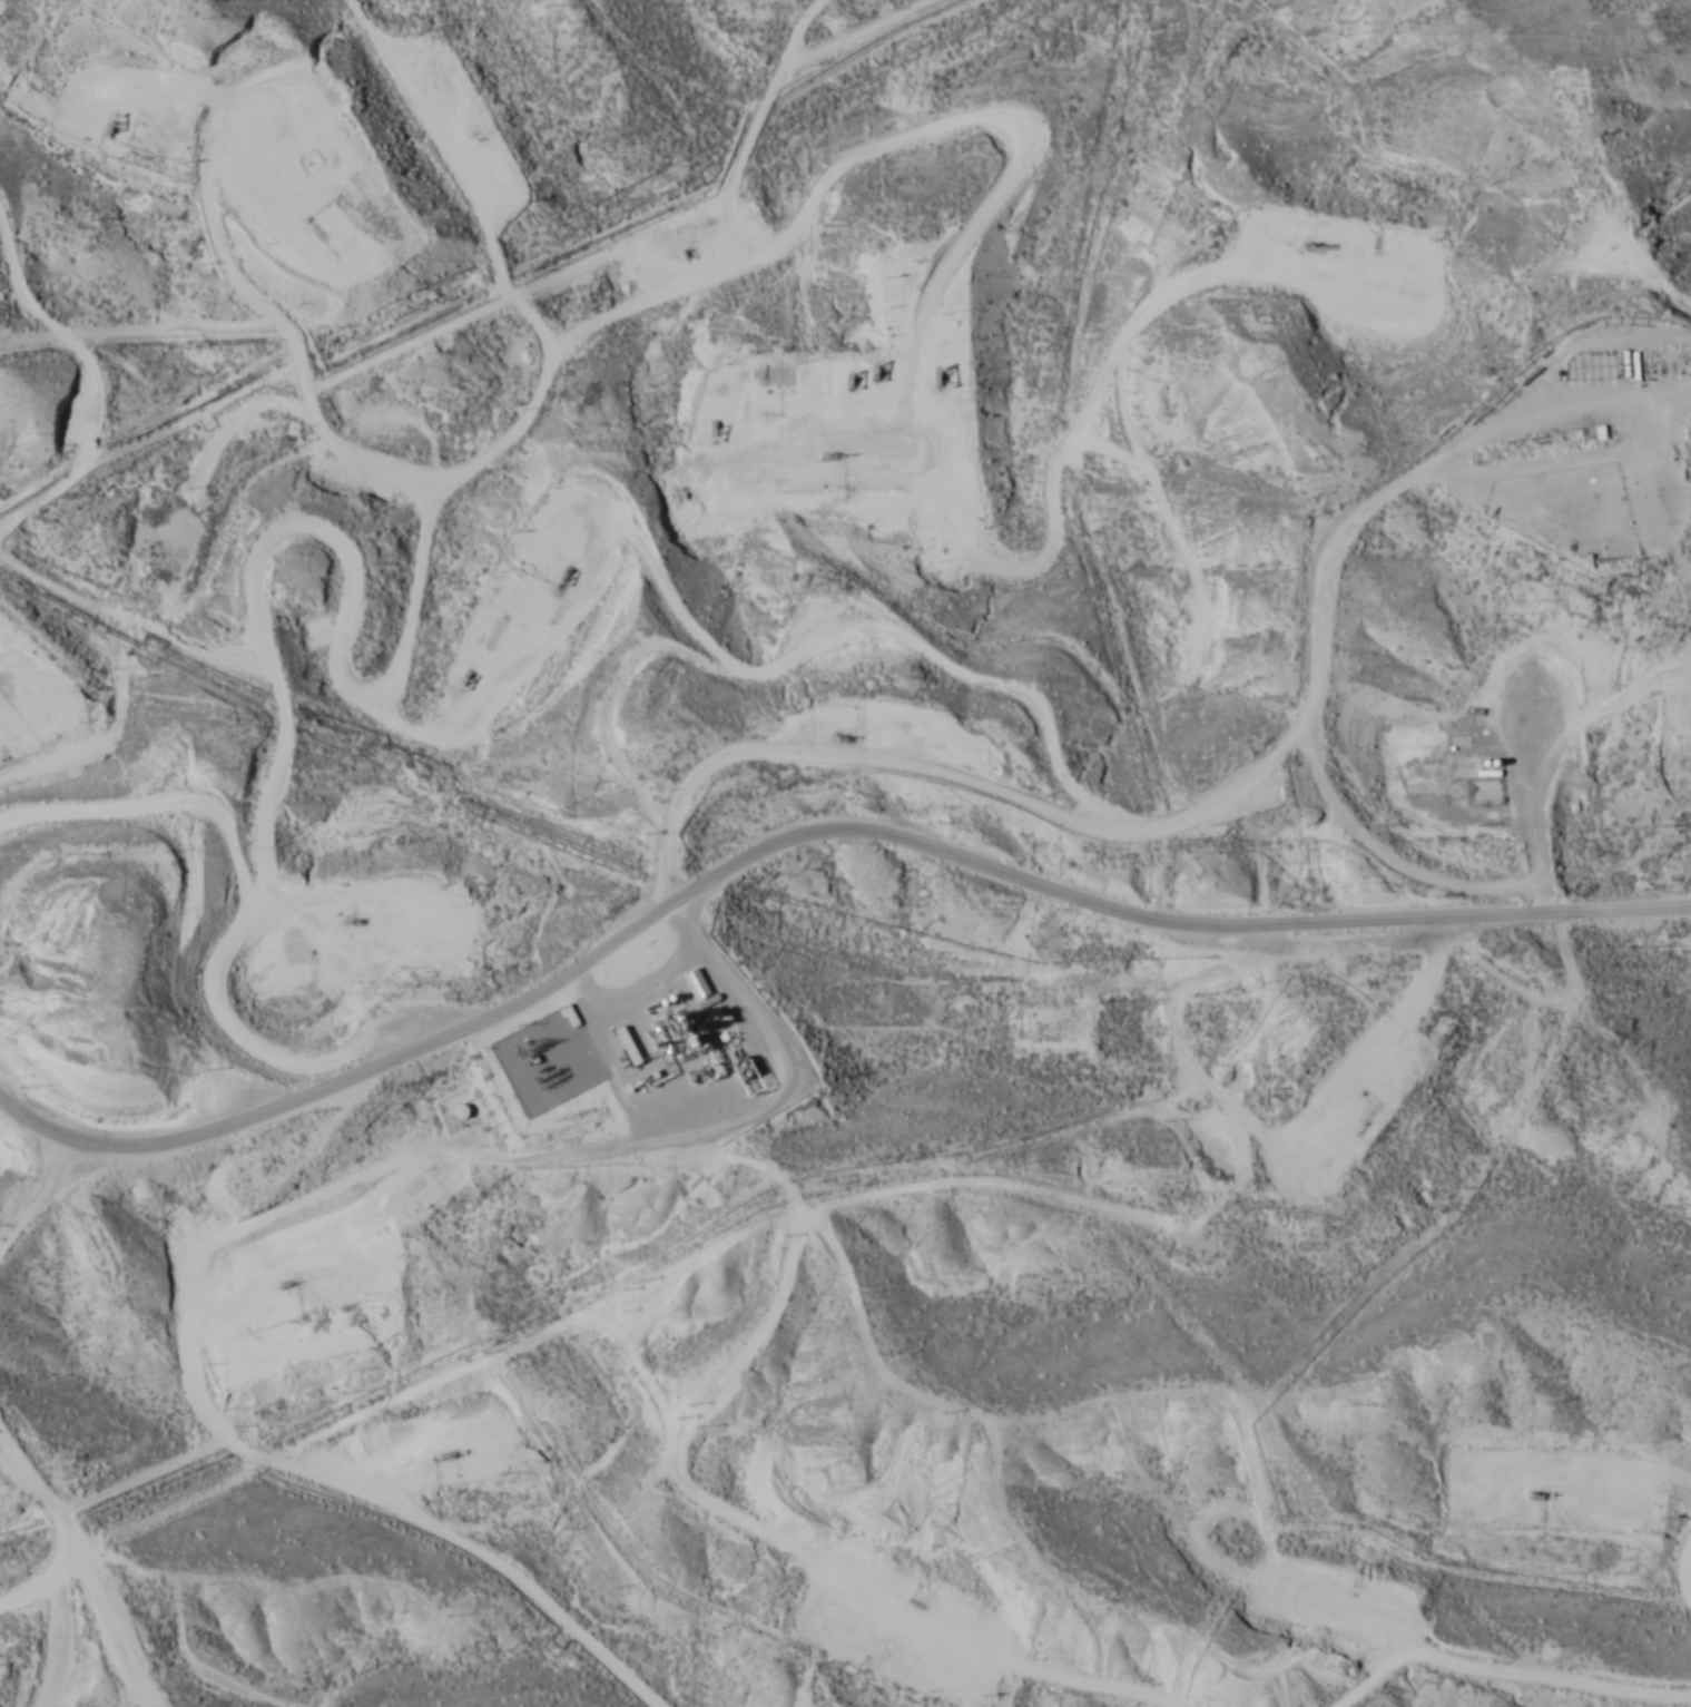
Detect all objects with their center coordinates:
road: (846, 19)
road: (626, 332)
road: (52, 414)
road: (1004, 418)
road: (1090, 676)
road: (1268, 727)
road: (803, 833)
road: (201, 890)
building: (629, 1048)
building: (460, 1112)
road: (9, 1213)
road: (51, 1550)
road: (33, 1605)

